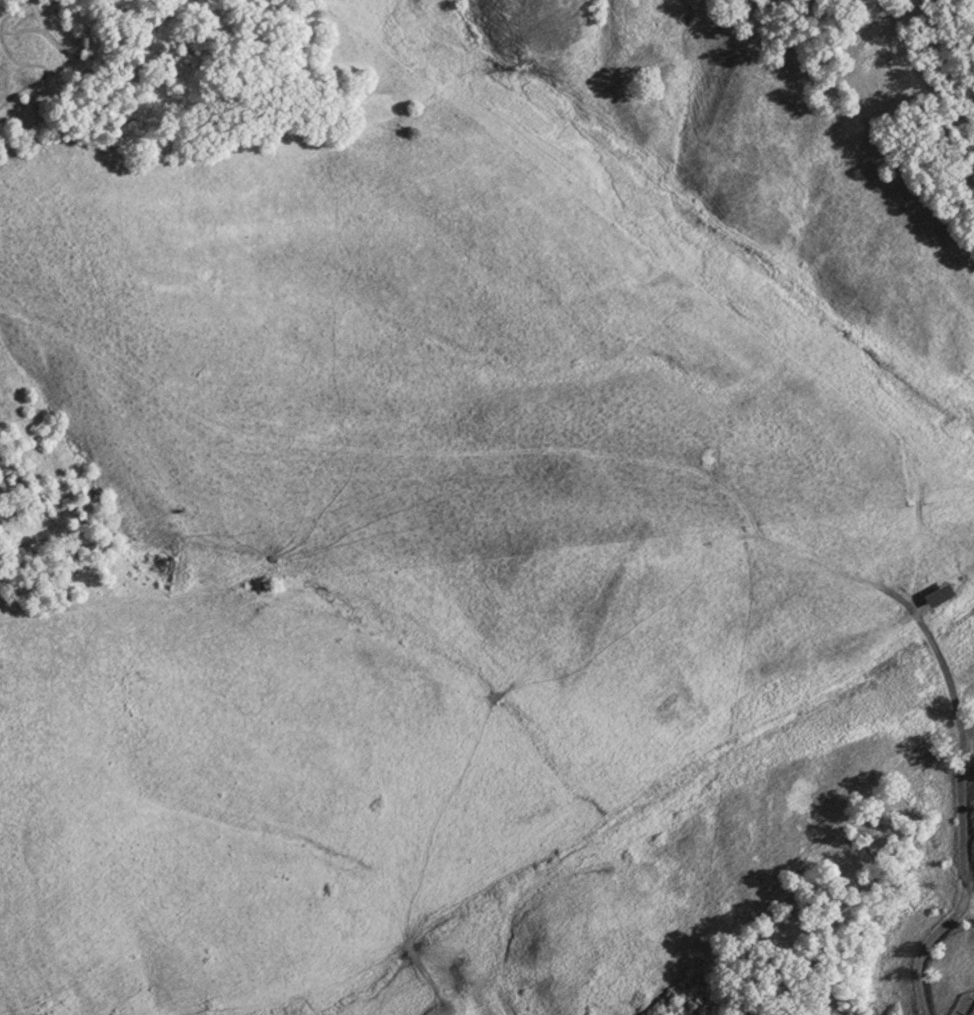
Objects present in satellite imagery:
building: (934, 595)

